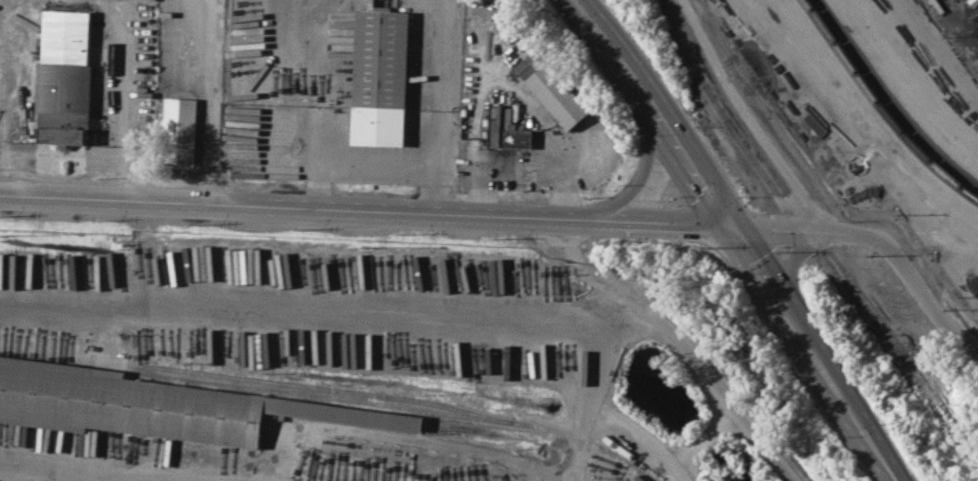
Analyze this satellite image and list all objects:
railway: (708, 71)
building: (67, 79)
building: (379, 79)
road: (315, 81)
road: (441, 83)
building: (552, 89)
railway: (890, 100)
railway: (883, 107)
building: (505, 127)
building: (182, 130)
road: (377, 164)
road: (633, 186)
road: (281, 205)
road: (567, 217)
road: (741, 220)
road: (659, 221)
railway: (798, 222)
traffic signals: (715, 224)
traffic signals: (746, 226)
road: (717, 227)
road: (885, 243)
road: (798, 252)
railway: (853, 283)
road: (305, 304)
road: (681, 340)
road: (586, 380)
railway: (324, 388)
building: (157, 406)
railway: (398, 407)
road: (640, 432)
road: (704, 437)
railway: (967, 441)
railway: (963, 453)
road: (886, 465)
road: (74, 471)
road: (86, 477)

